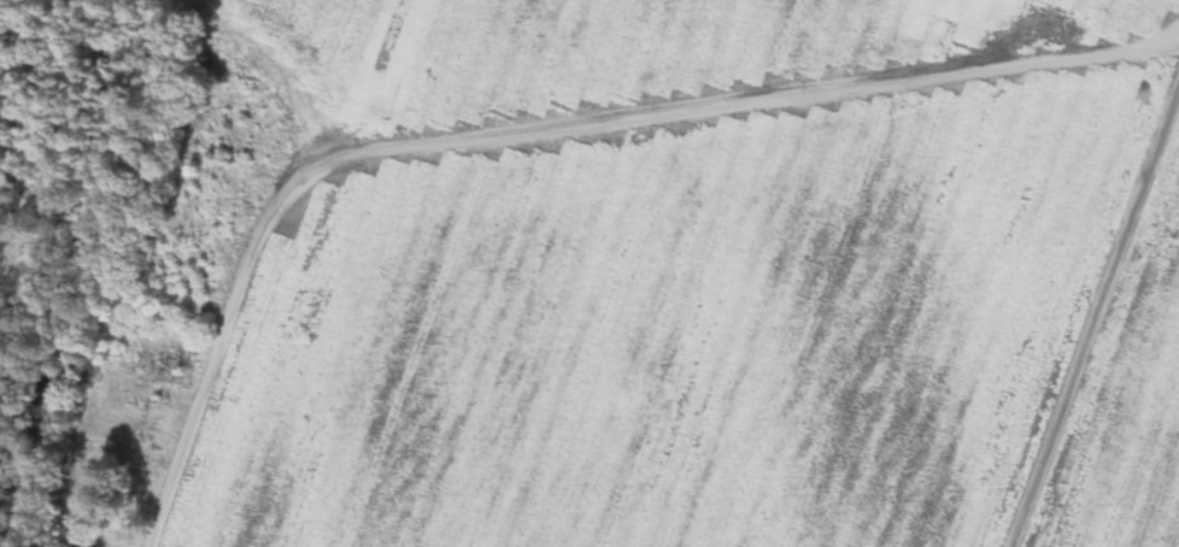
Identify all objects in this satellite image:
road: (573, 163)

